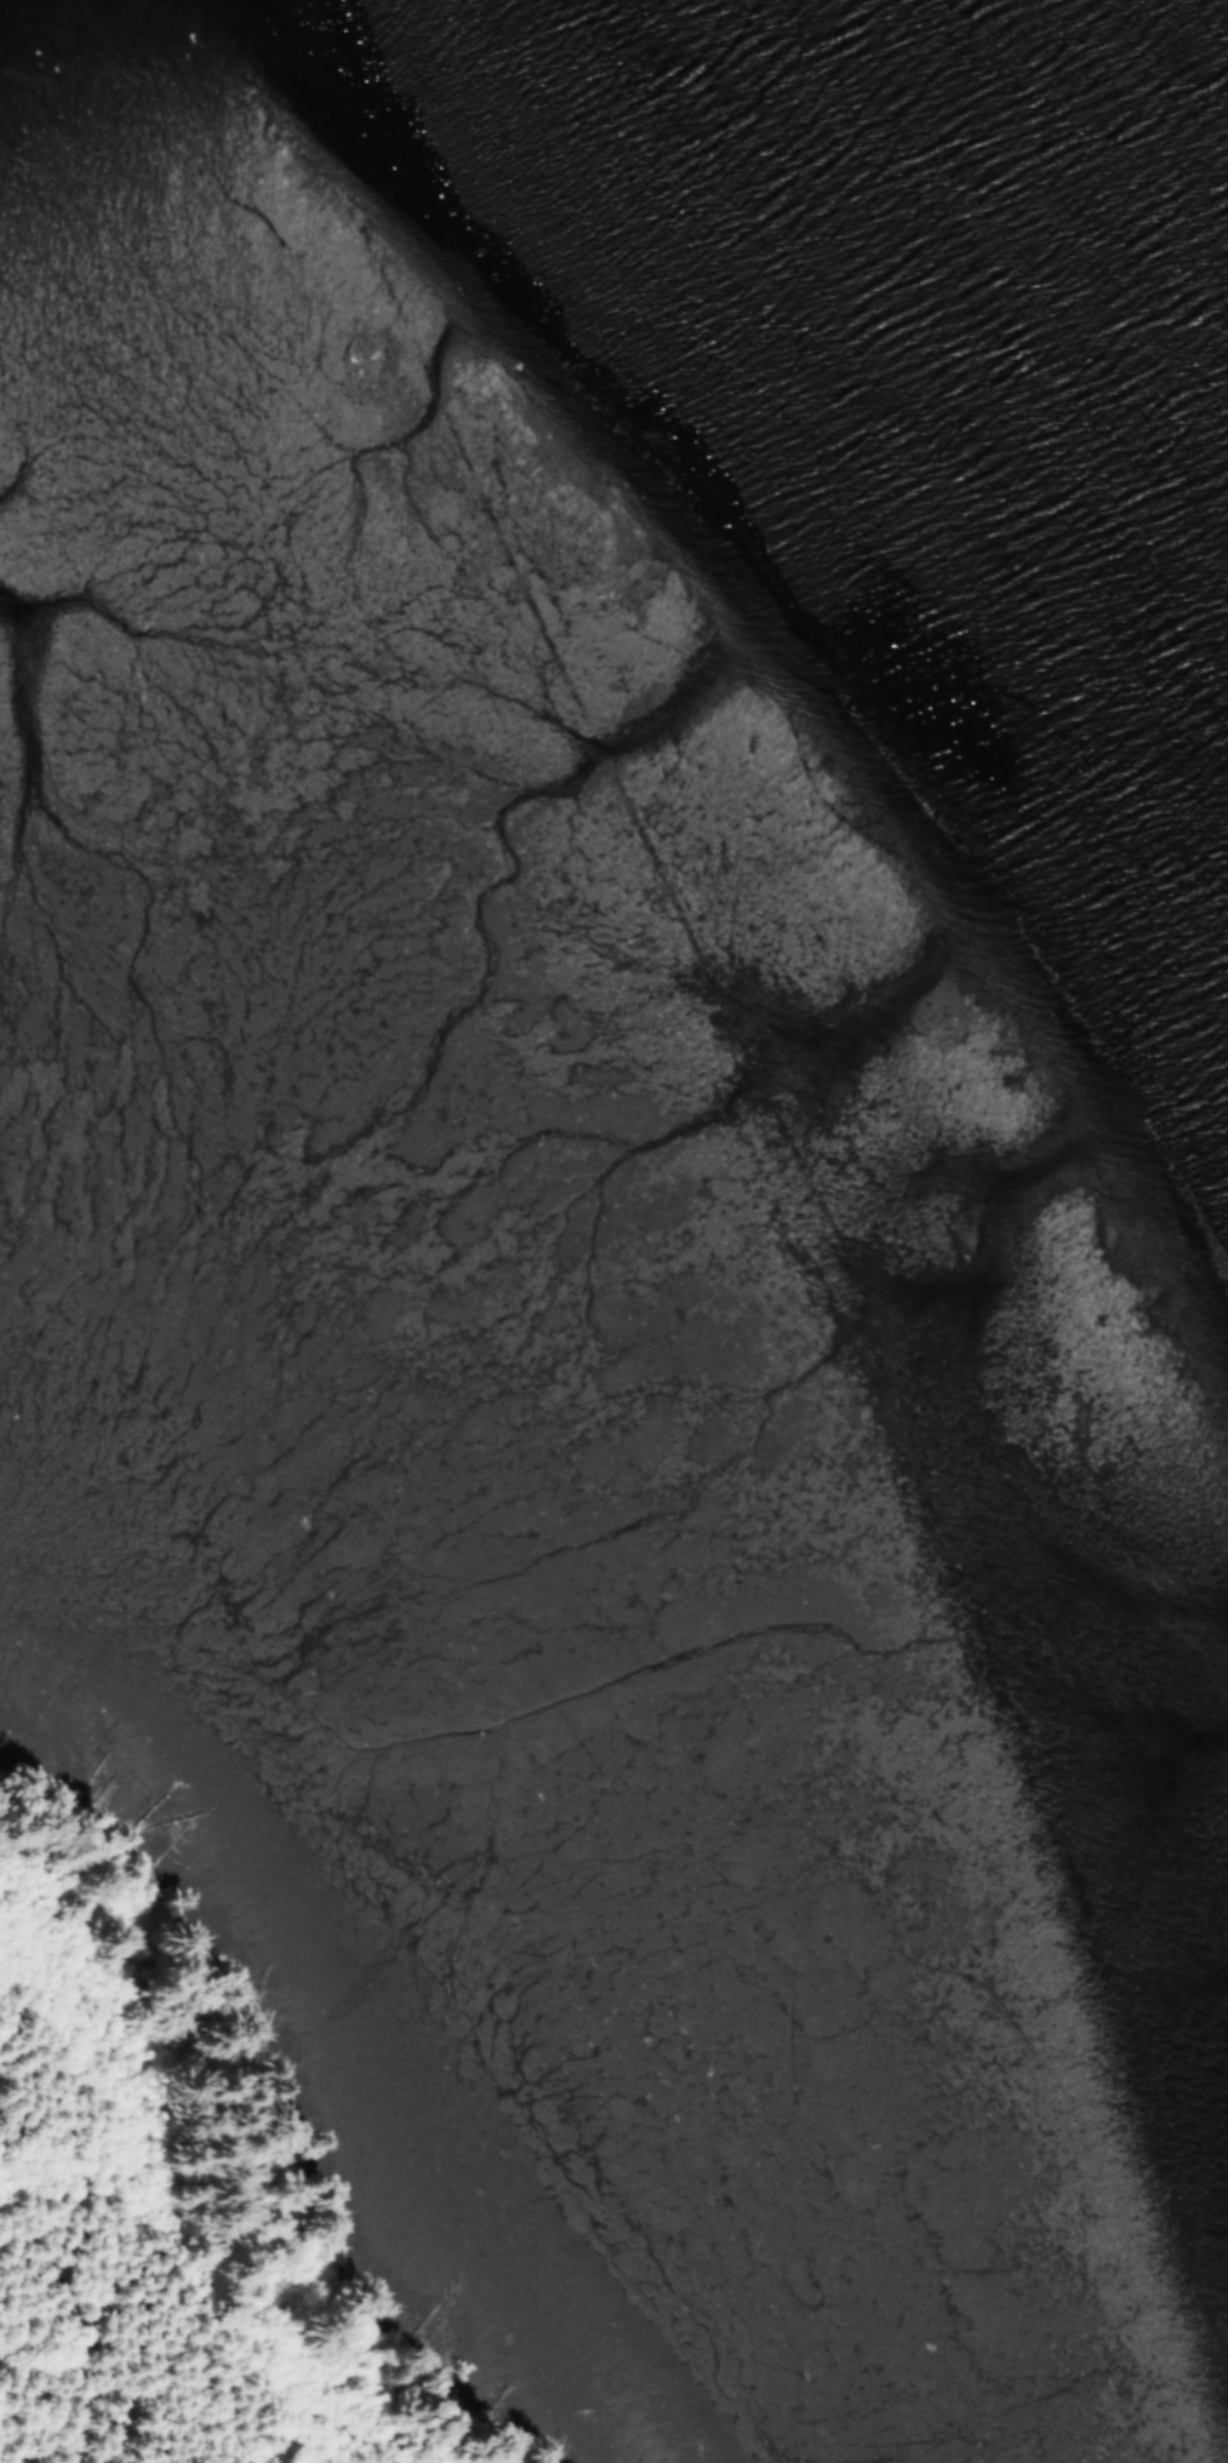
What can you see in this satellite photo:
river: (1026, 279)

